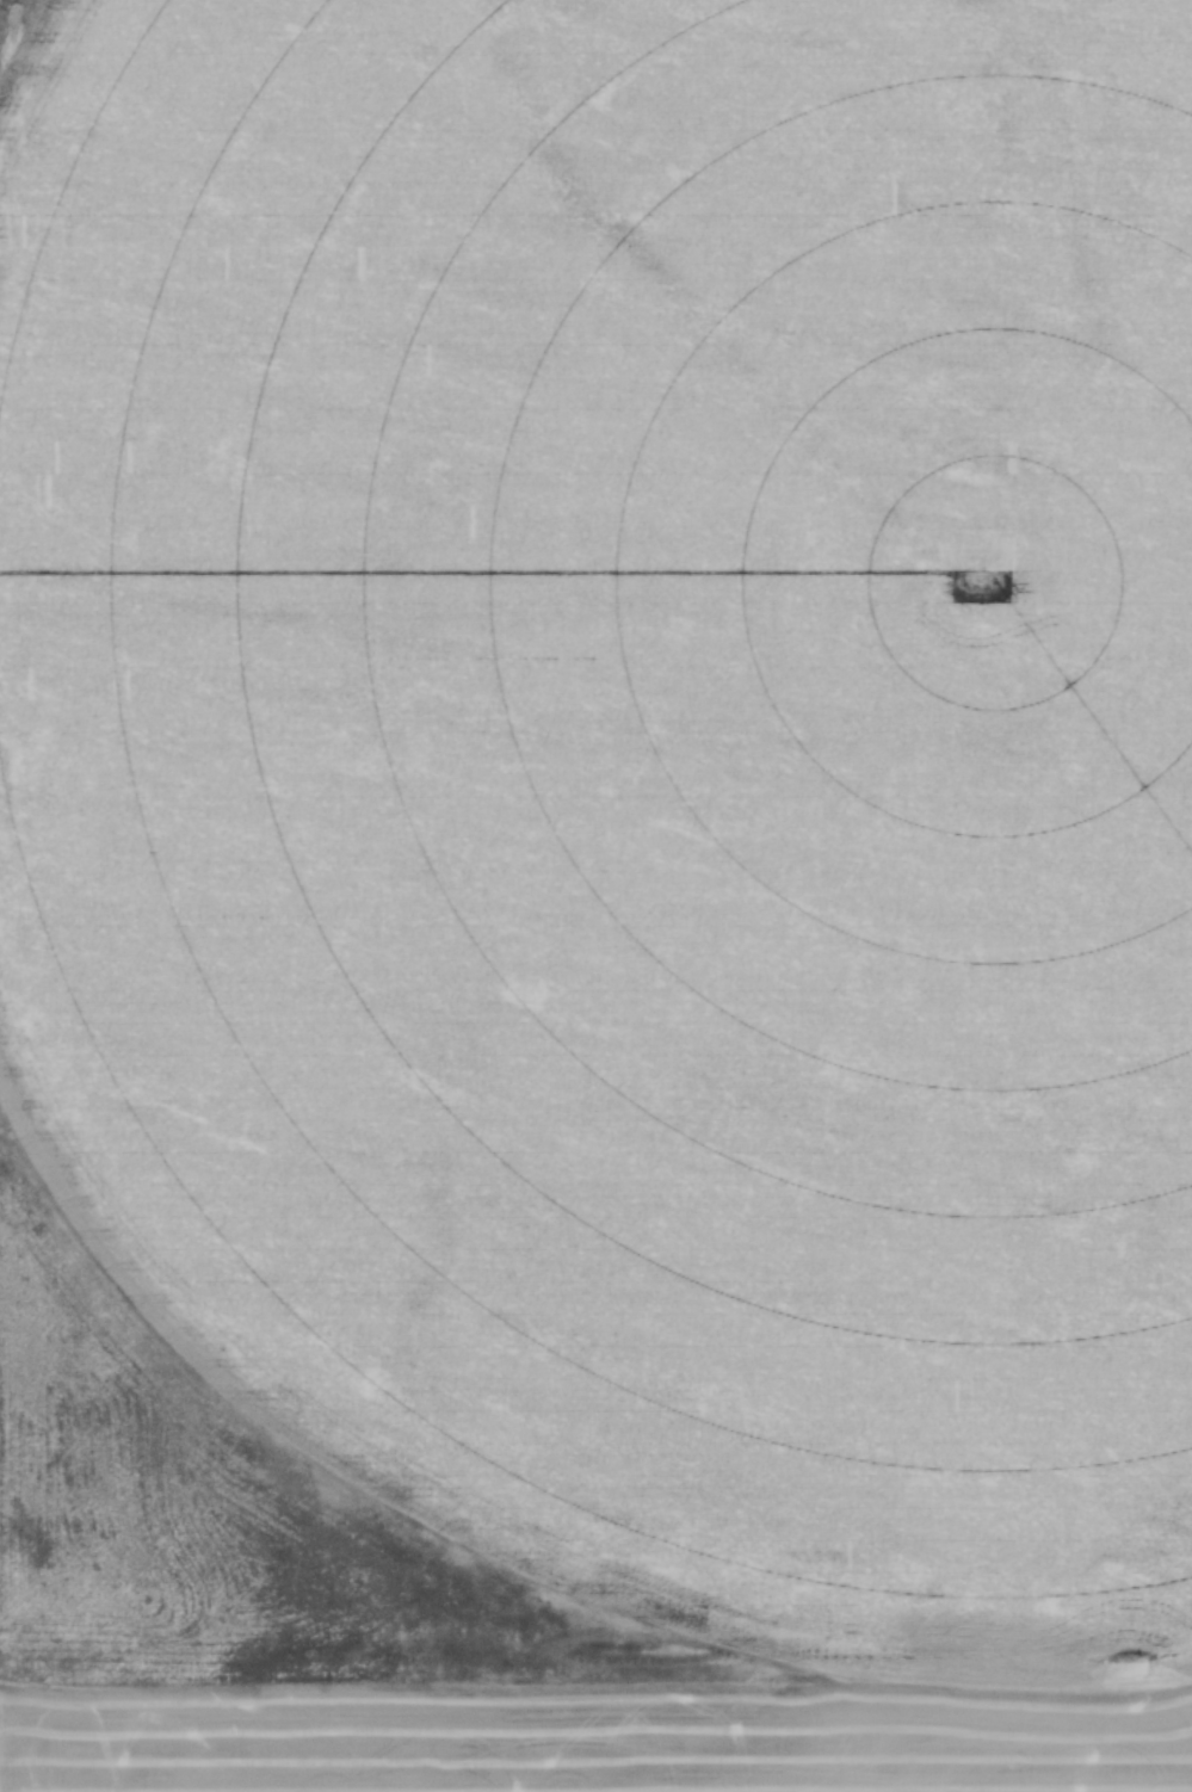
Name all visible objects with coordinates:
crop: (595, 896)

